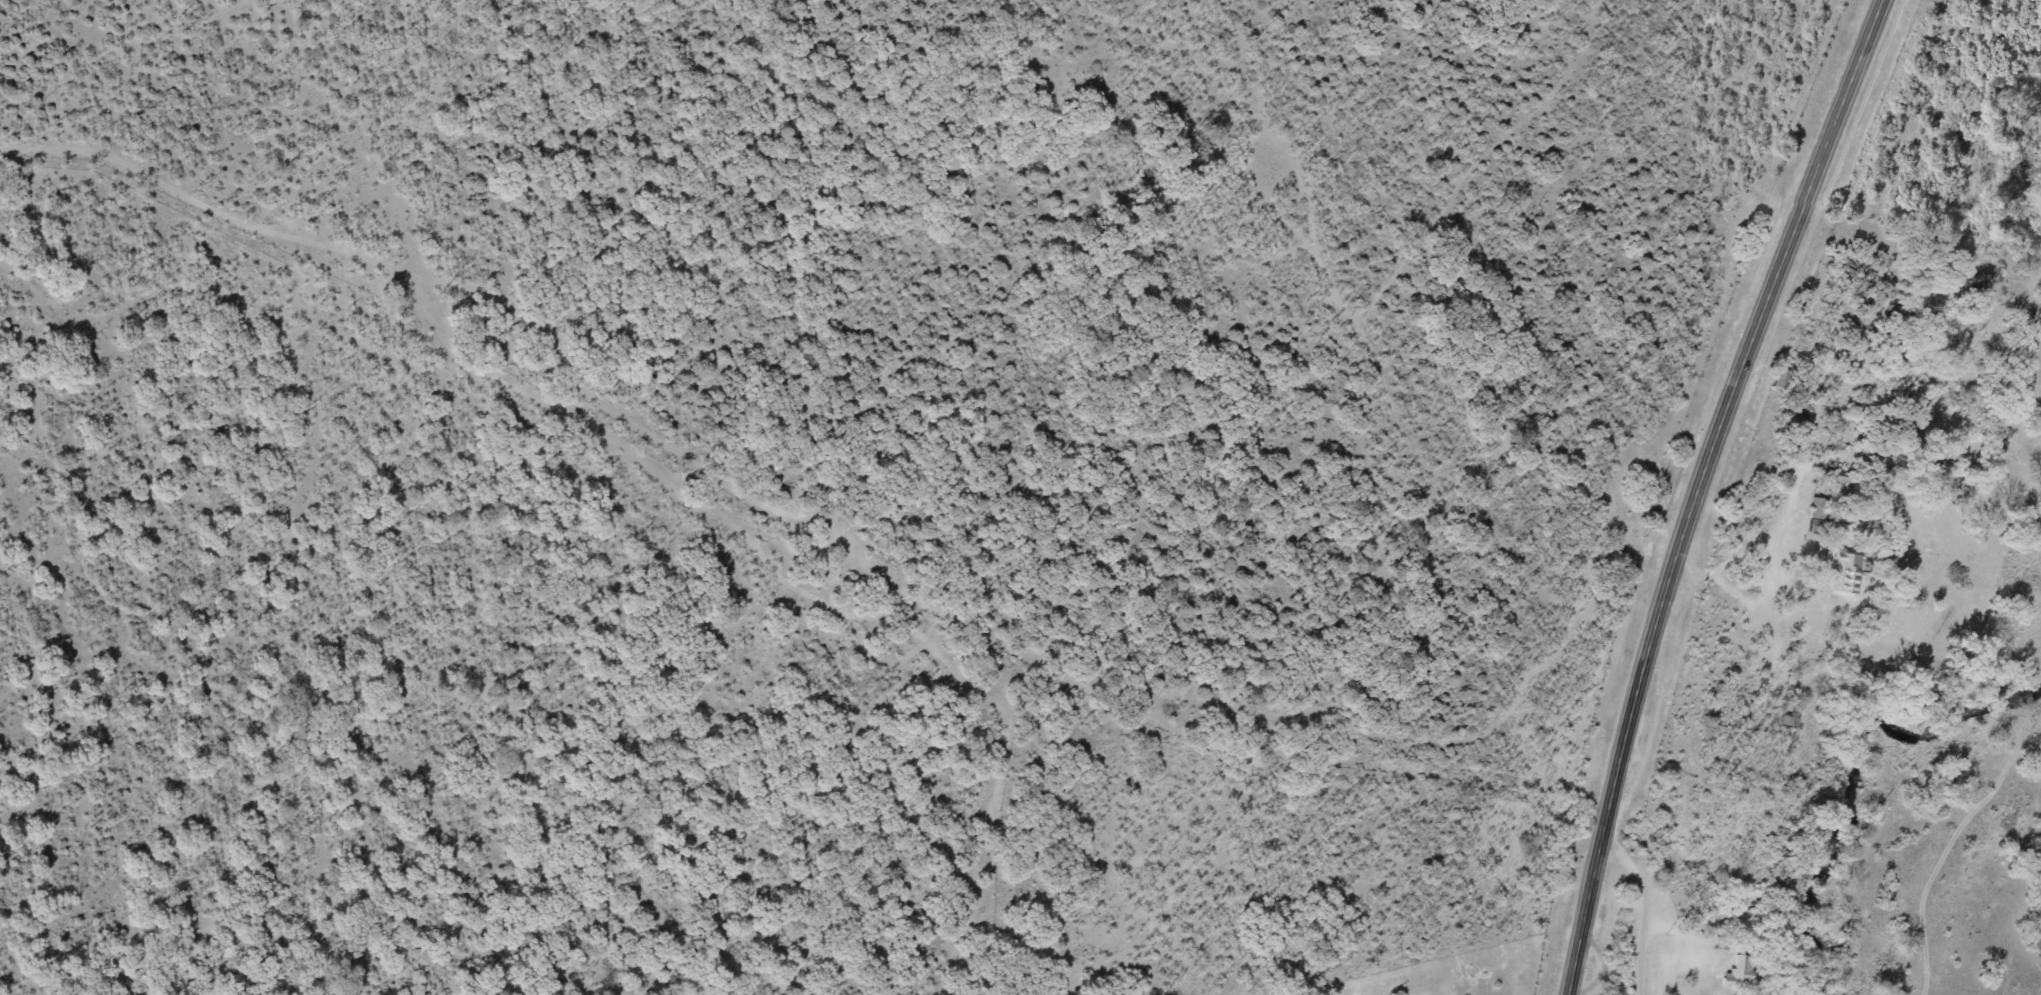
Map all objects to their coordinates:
road: (1349, 294)
building: (1797, 414)
road: (1701, 489)
building: (1817, 519)
road: (858, 549)
building: (1846, 573)
building: (1786, 720)
road: (1644, 904)
building: (1736, 972)
park: (1480, 983)

